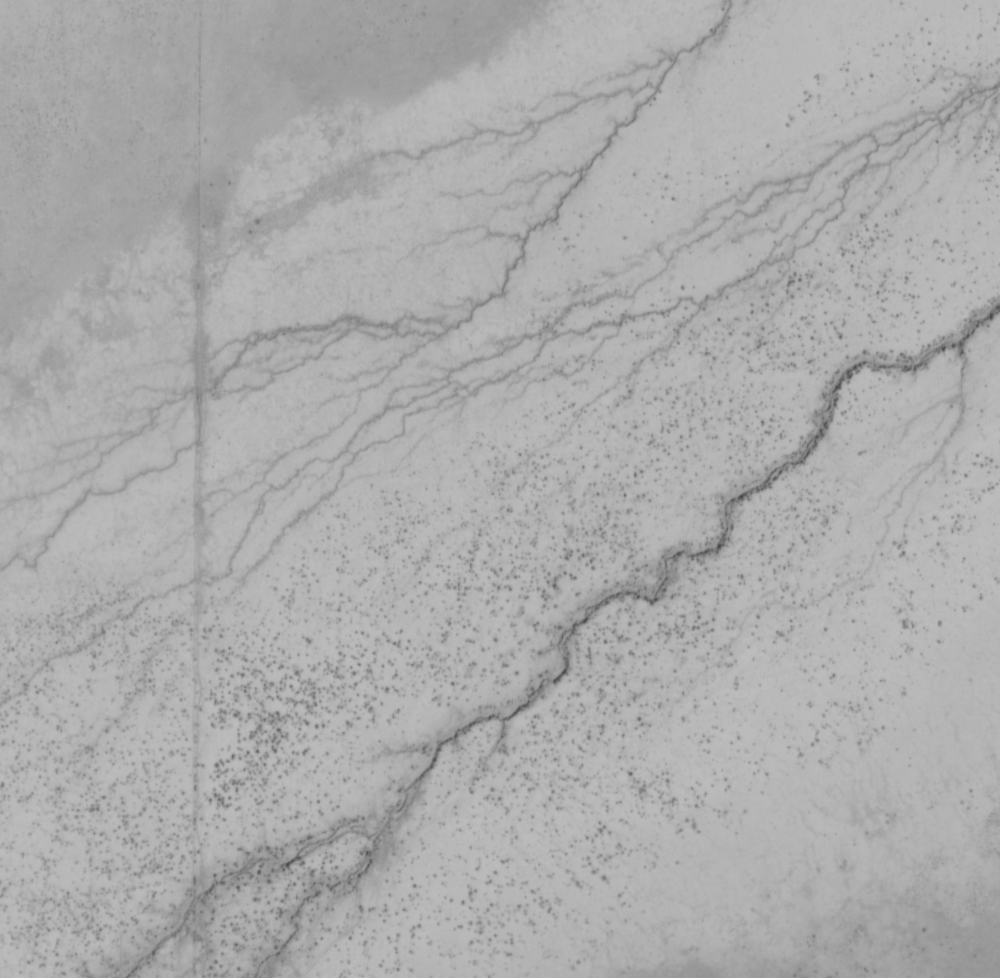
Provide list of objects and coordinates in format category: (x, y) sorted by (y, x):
river: (552, 651)

